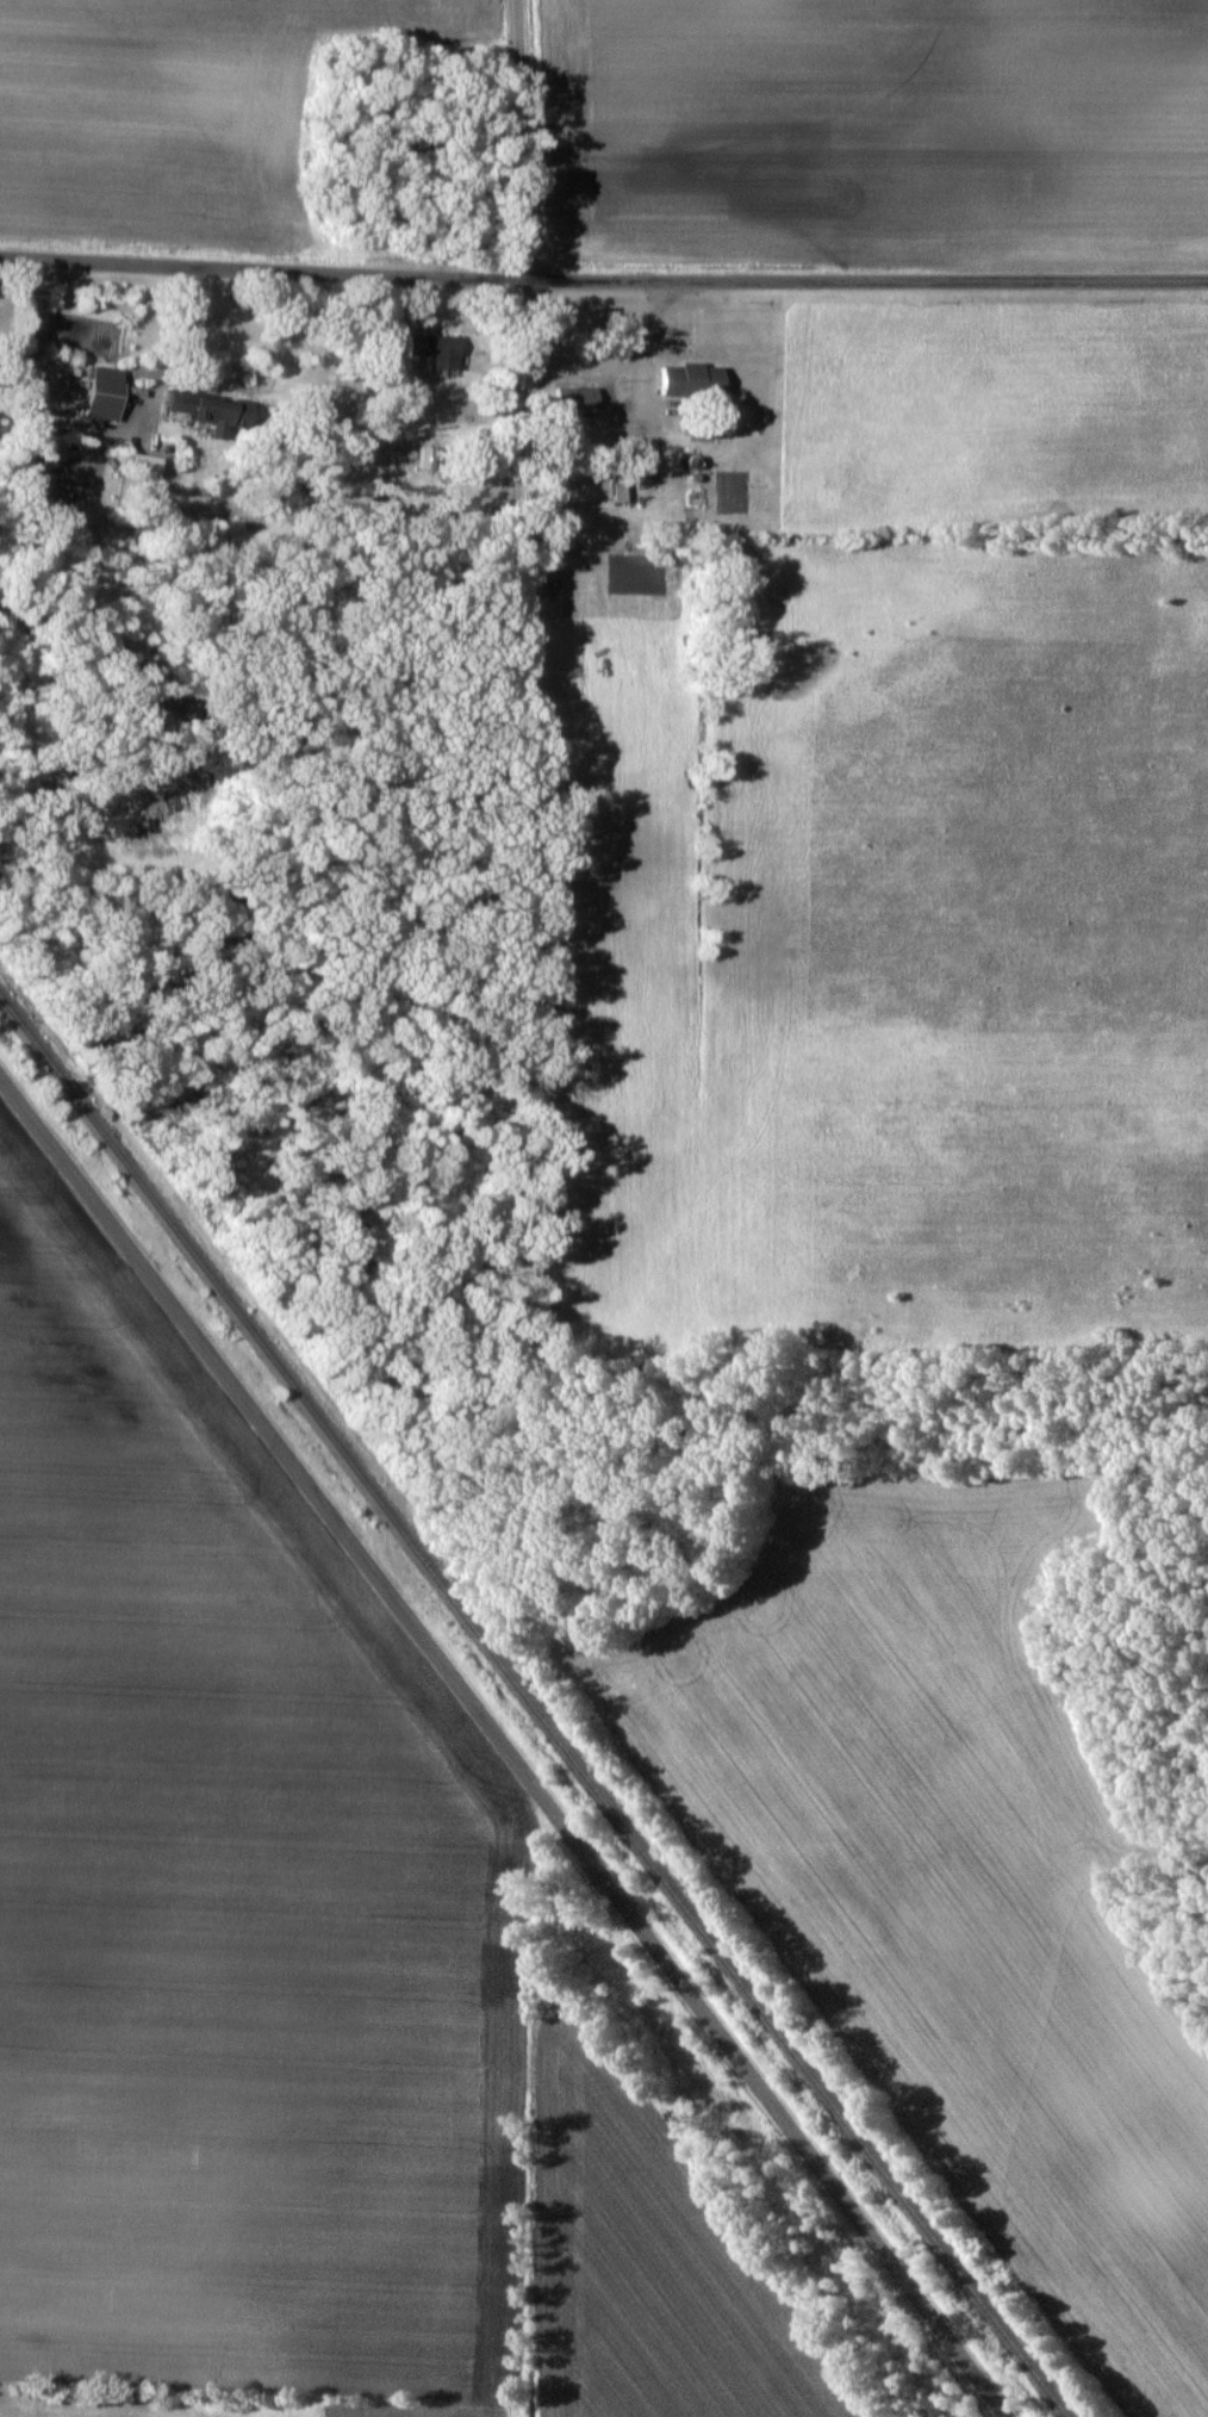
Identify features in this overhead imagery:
road: (525, 136)
road: (603, 271)
building: (435, 349)
building: (687, 380)
building: (101, 393)
building: (574, 397)
railway: (535, 1705)
road: (505, 1746)

